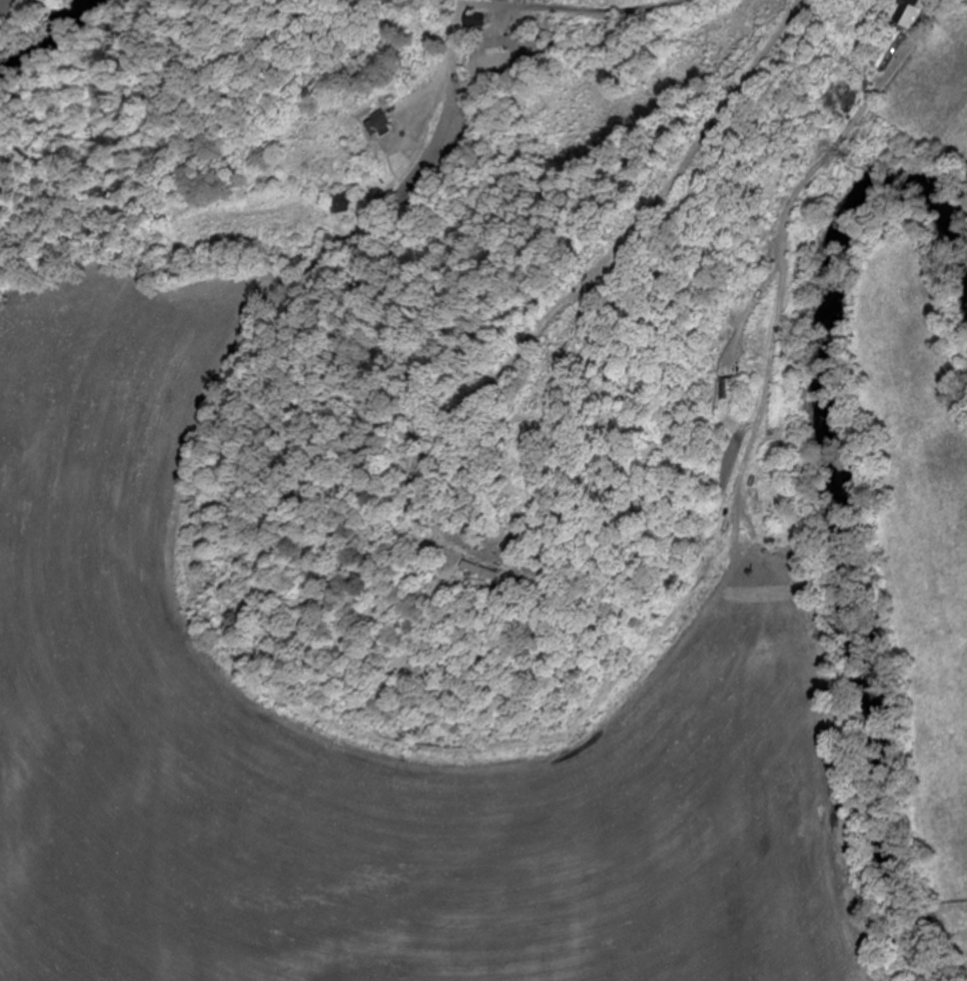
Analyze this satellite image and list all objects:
road: (580, 12)
building: (911, 17)
building: (889, 50)
building: (496, 57)
building: (378, 124)
building: (341, 208)
building: (477, 572)

